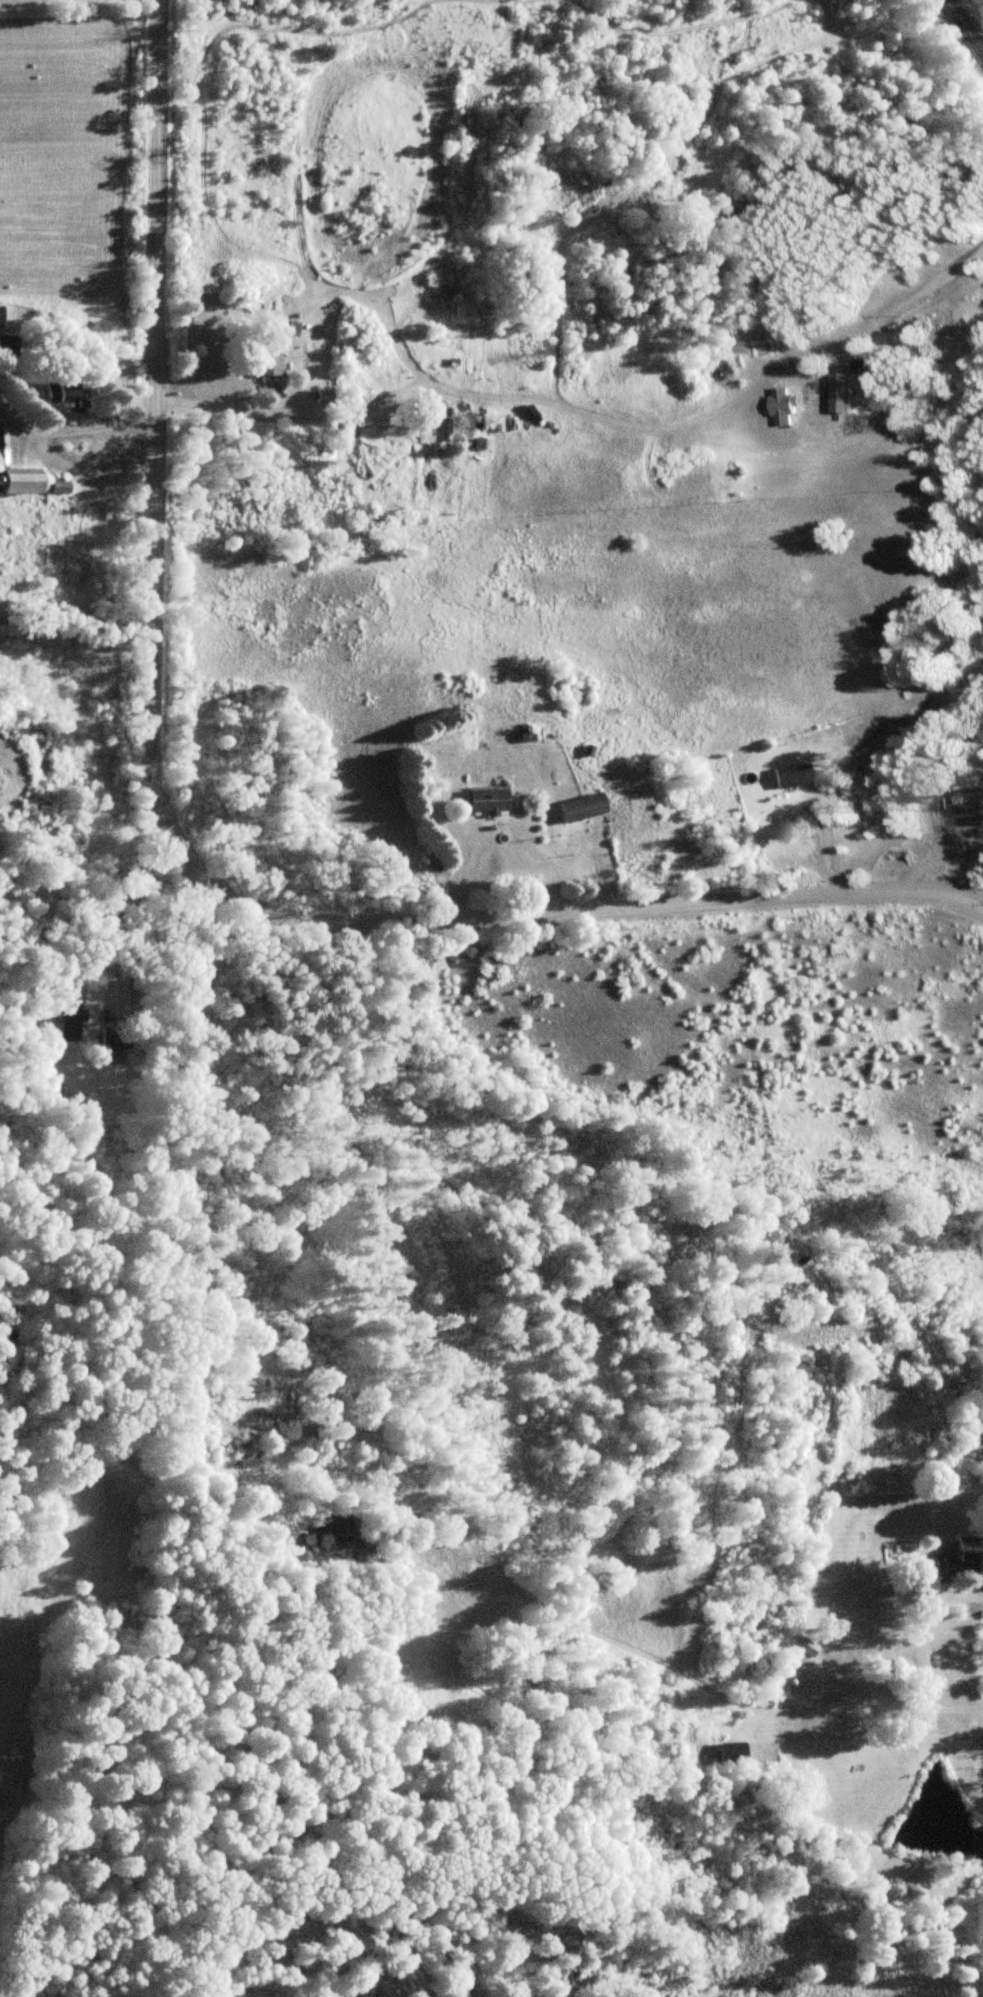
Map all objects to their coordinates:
road: (963, 28)
building: (580, 203)
building: (2, 315)
building: (287, 328)
building: (270, 360)
building: (838, 392)
building: (76, 396)
building: (782, 405)
building: (434, 429)
building: (3, 447)
road: (141, 454)
building: (24, 483)
building: (792, 776)
building: (490, 801)
building: (584, 807)
road: (607, 877)
building: (69, 1021)
building: (965, 1556)
building: (807, 1647)
road: (885, 1706)
building: (738, 1753)

